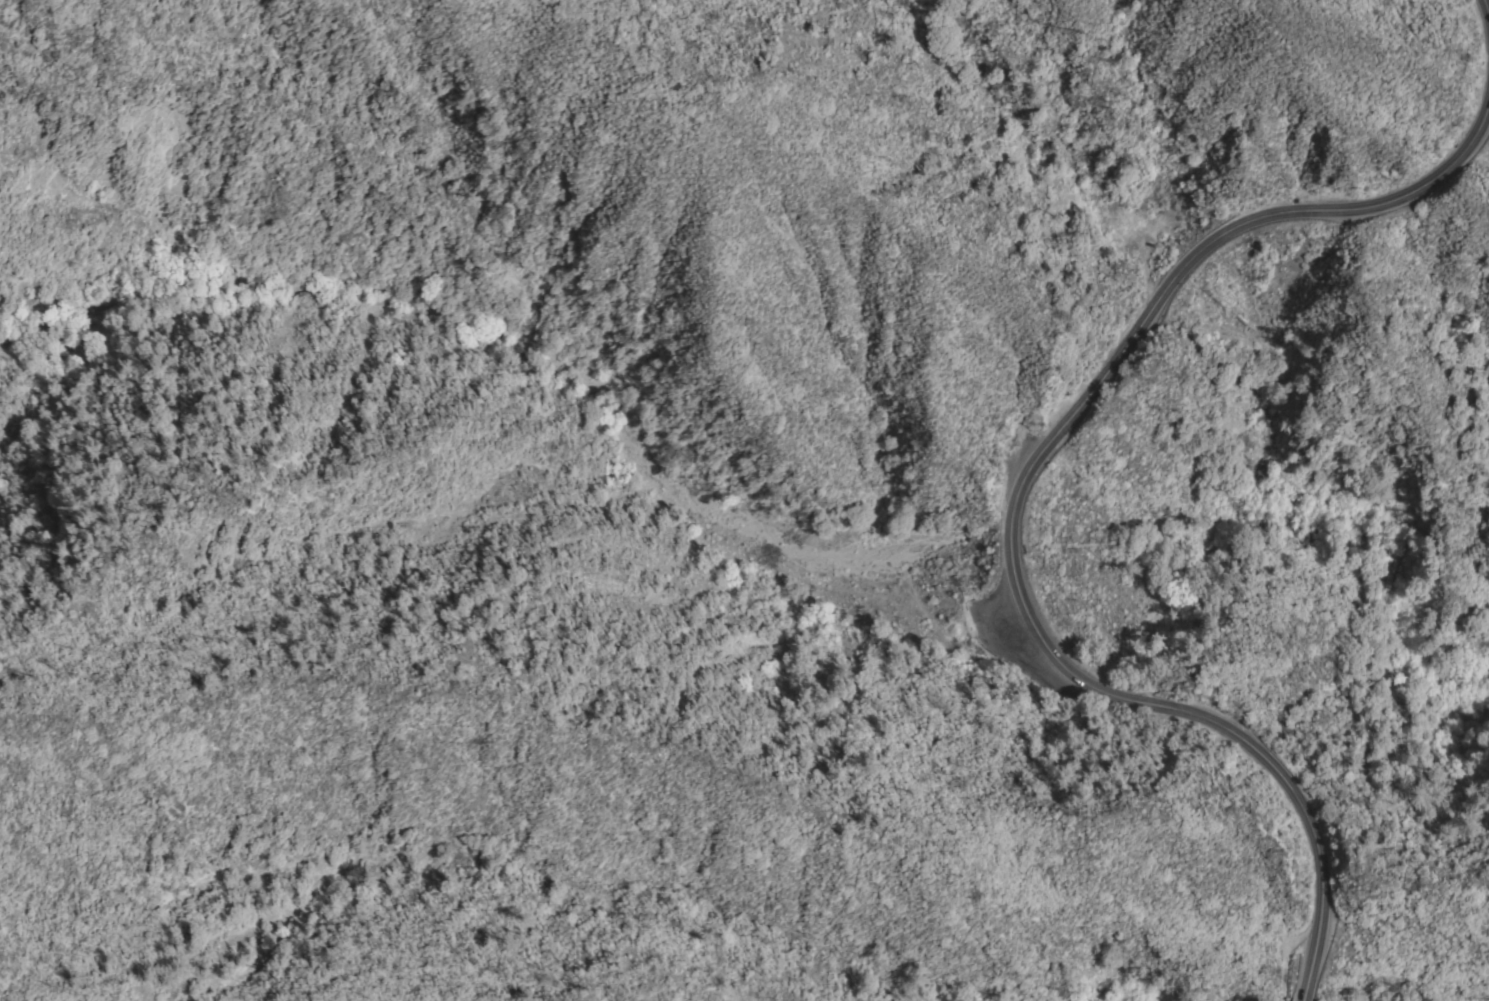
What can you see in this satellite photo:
road: (1486, 11)
road: (1396, 30)
road: (1014, 494)
road: (1299, 996)

